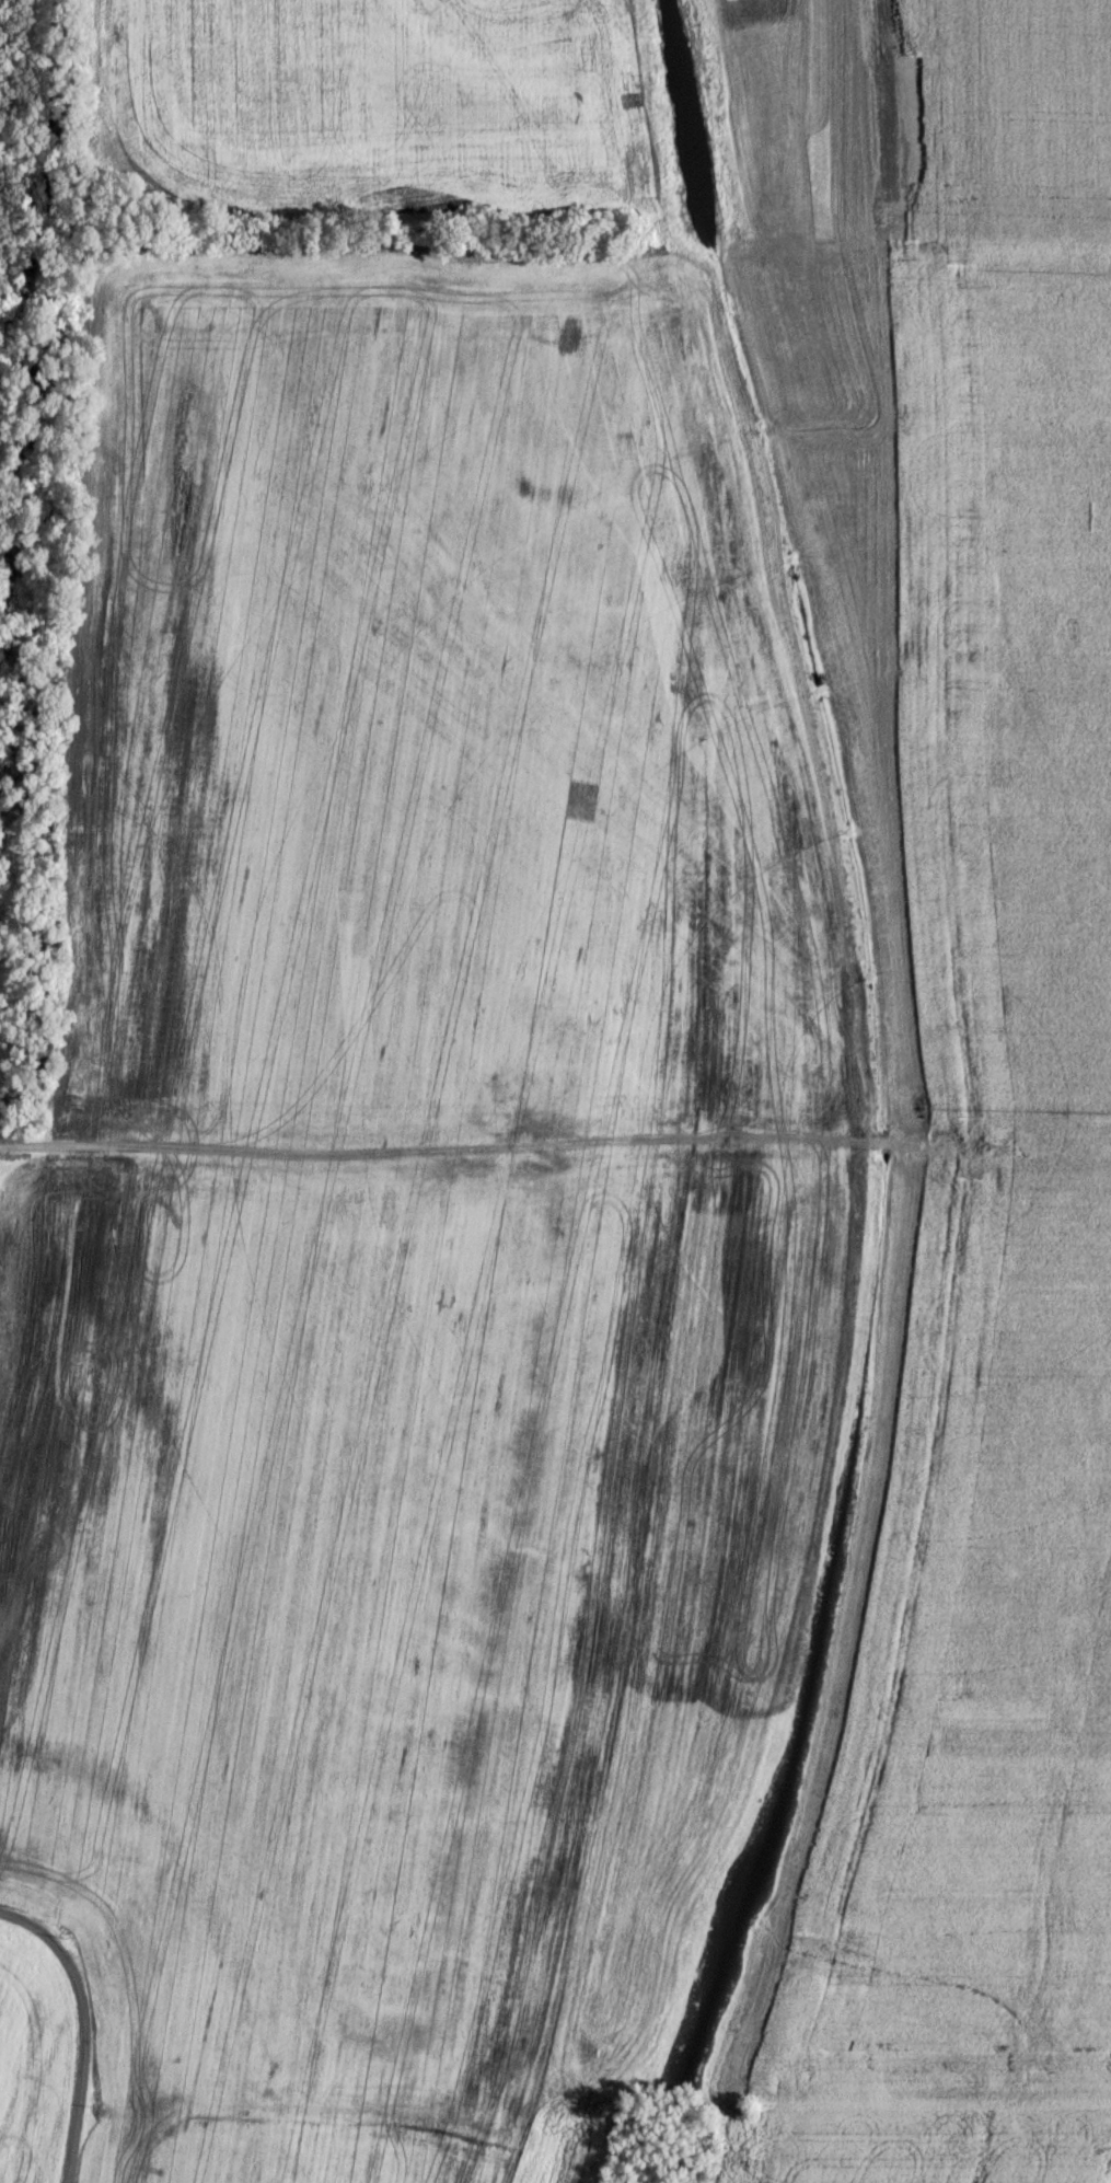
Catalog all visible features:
road: (82, 2029)

